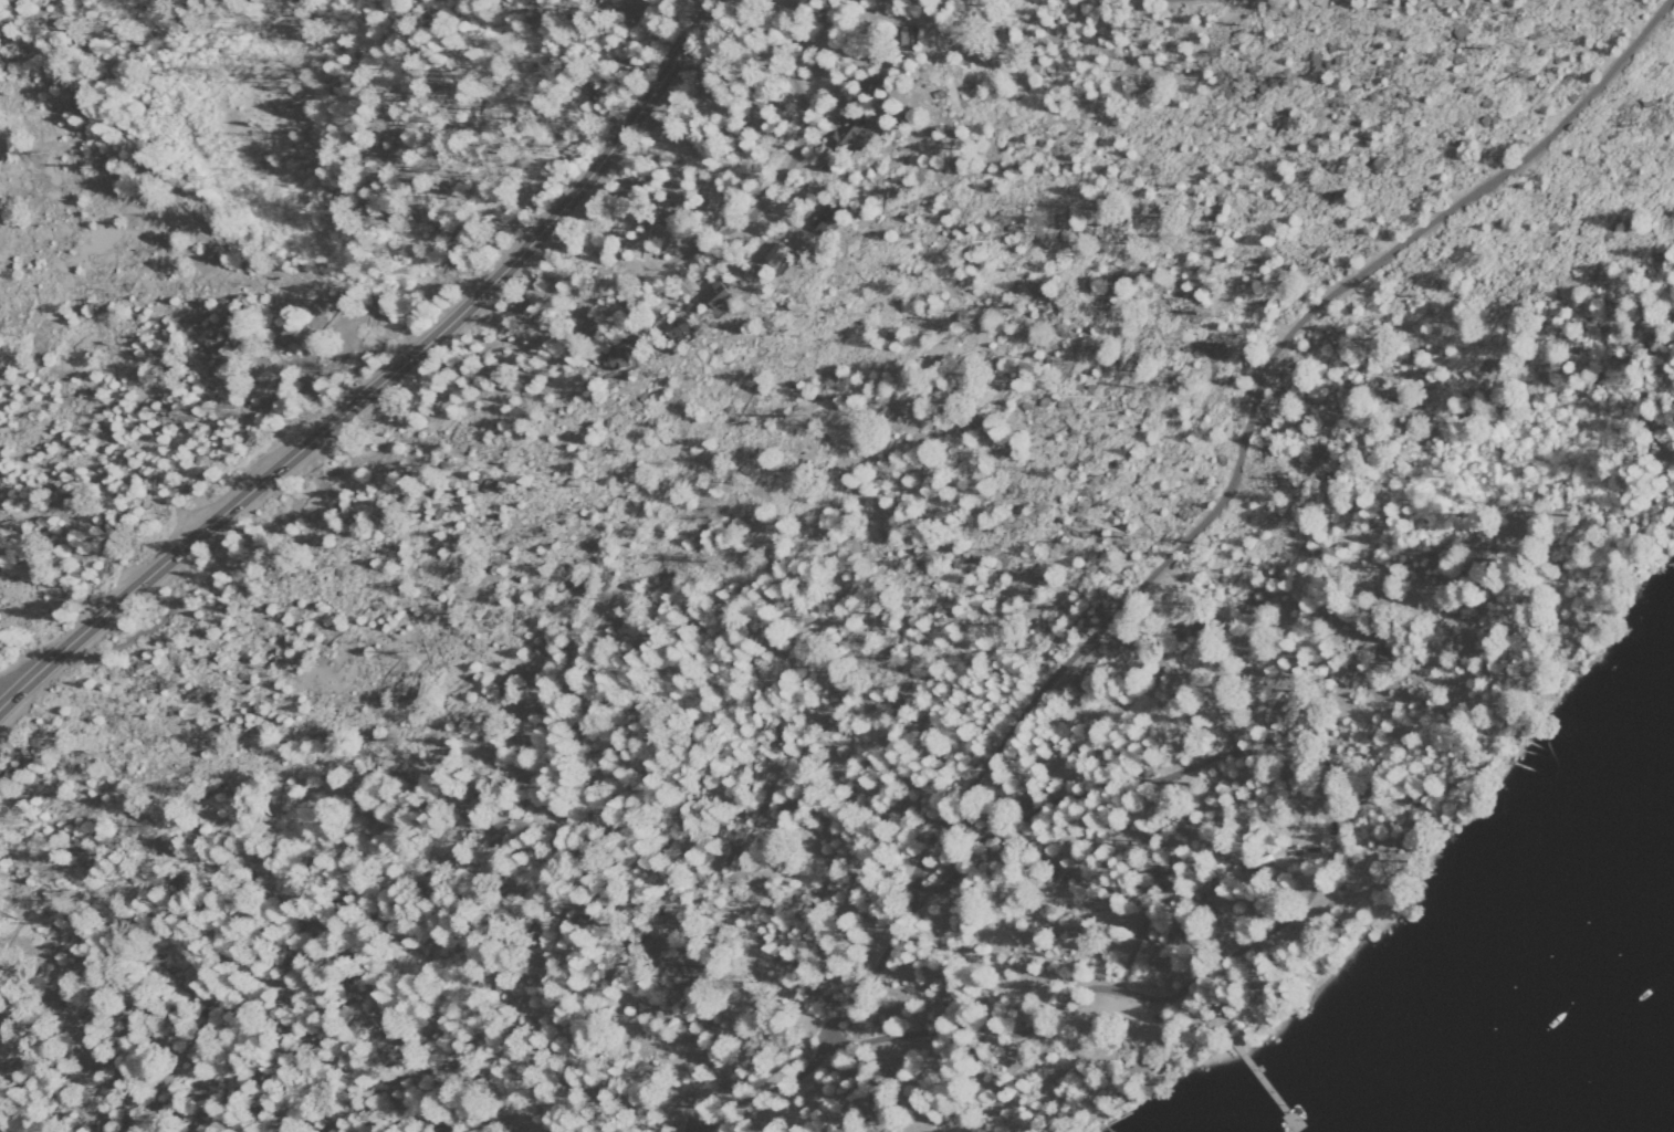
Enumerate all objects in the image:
building: (846, 137)
road: (730, 190)
building: (824, 221)
building: (777, 255)
building: (720, 298)
building: (679, 328)
road: (216, 361)
road: (377, 377)
road: (1225, 492)
road: (9, 690)
road: (1362, 819)
road: (1301, 852)
road: (1314, 871)
road: (1130, 948)
pier: (1260, 1076)
road: (761, 1084)

